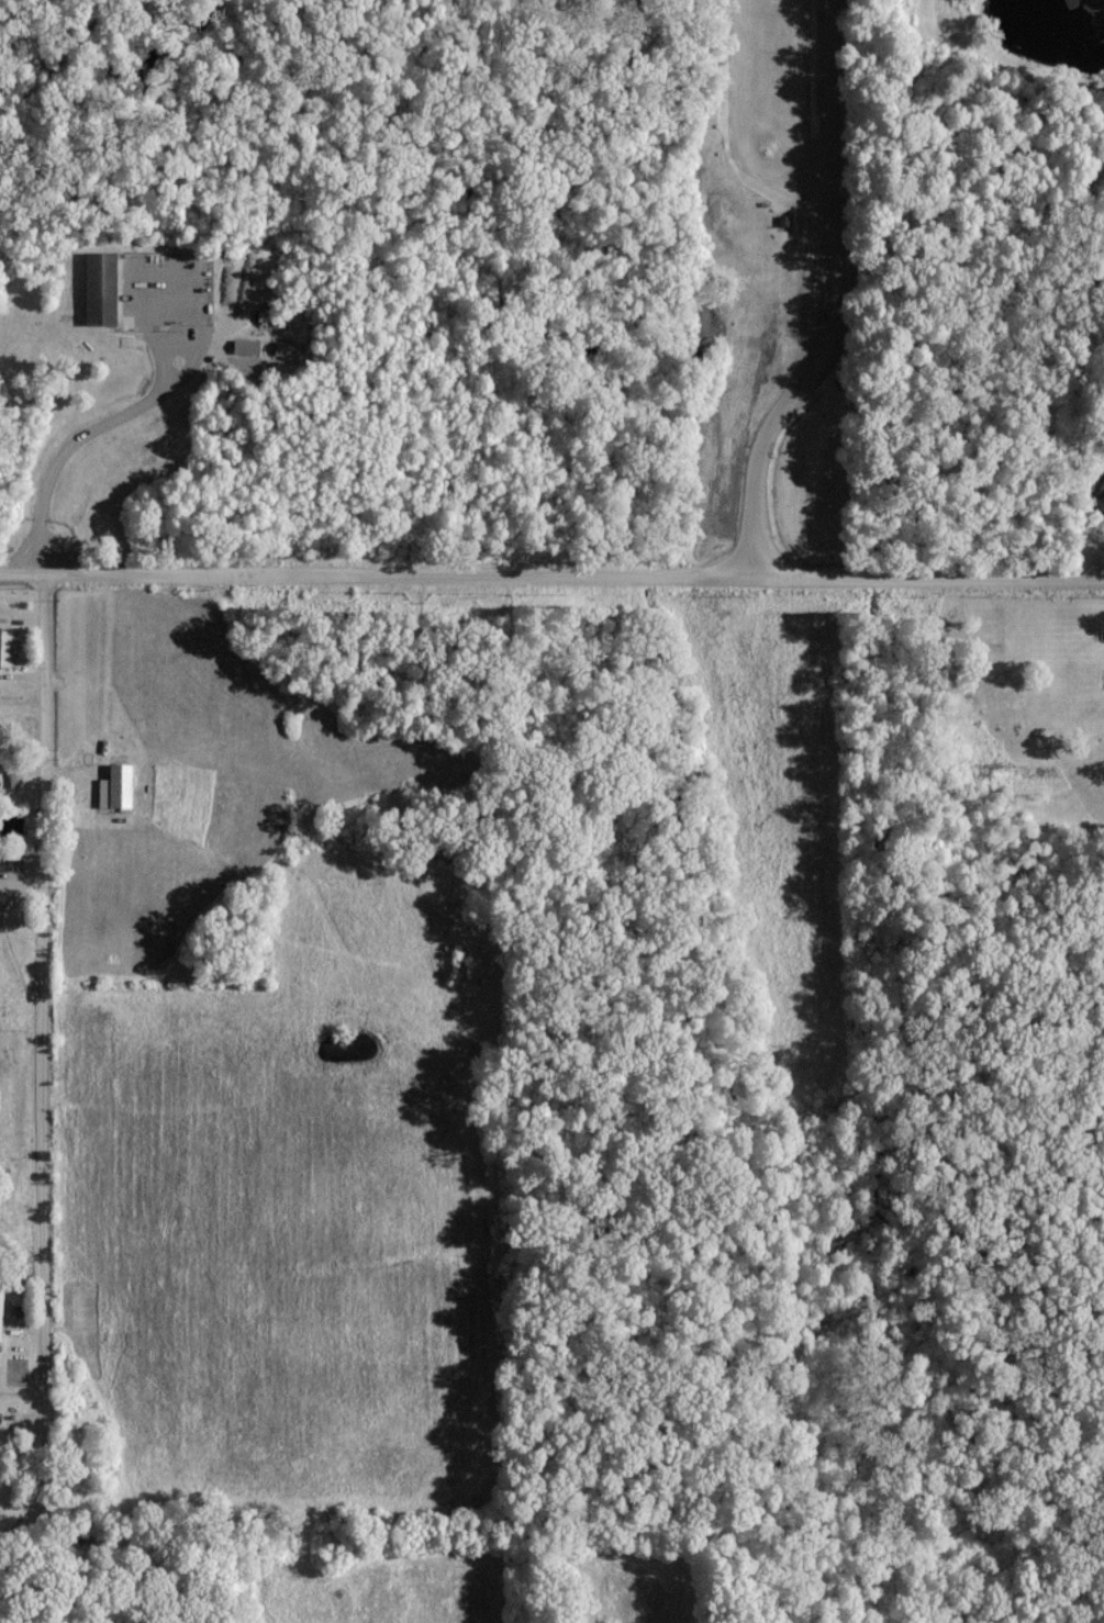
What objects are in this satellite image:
building: (99, 287)
road: (839, 298)
building: (245, 345)
building: (287, 347)
road: (80, 432)
road: (551, 570)
building: (9, 647)
building: (115, 785)
road: (34, 1054)
building: (0, 1303)

